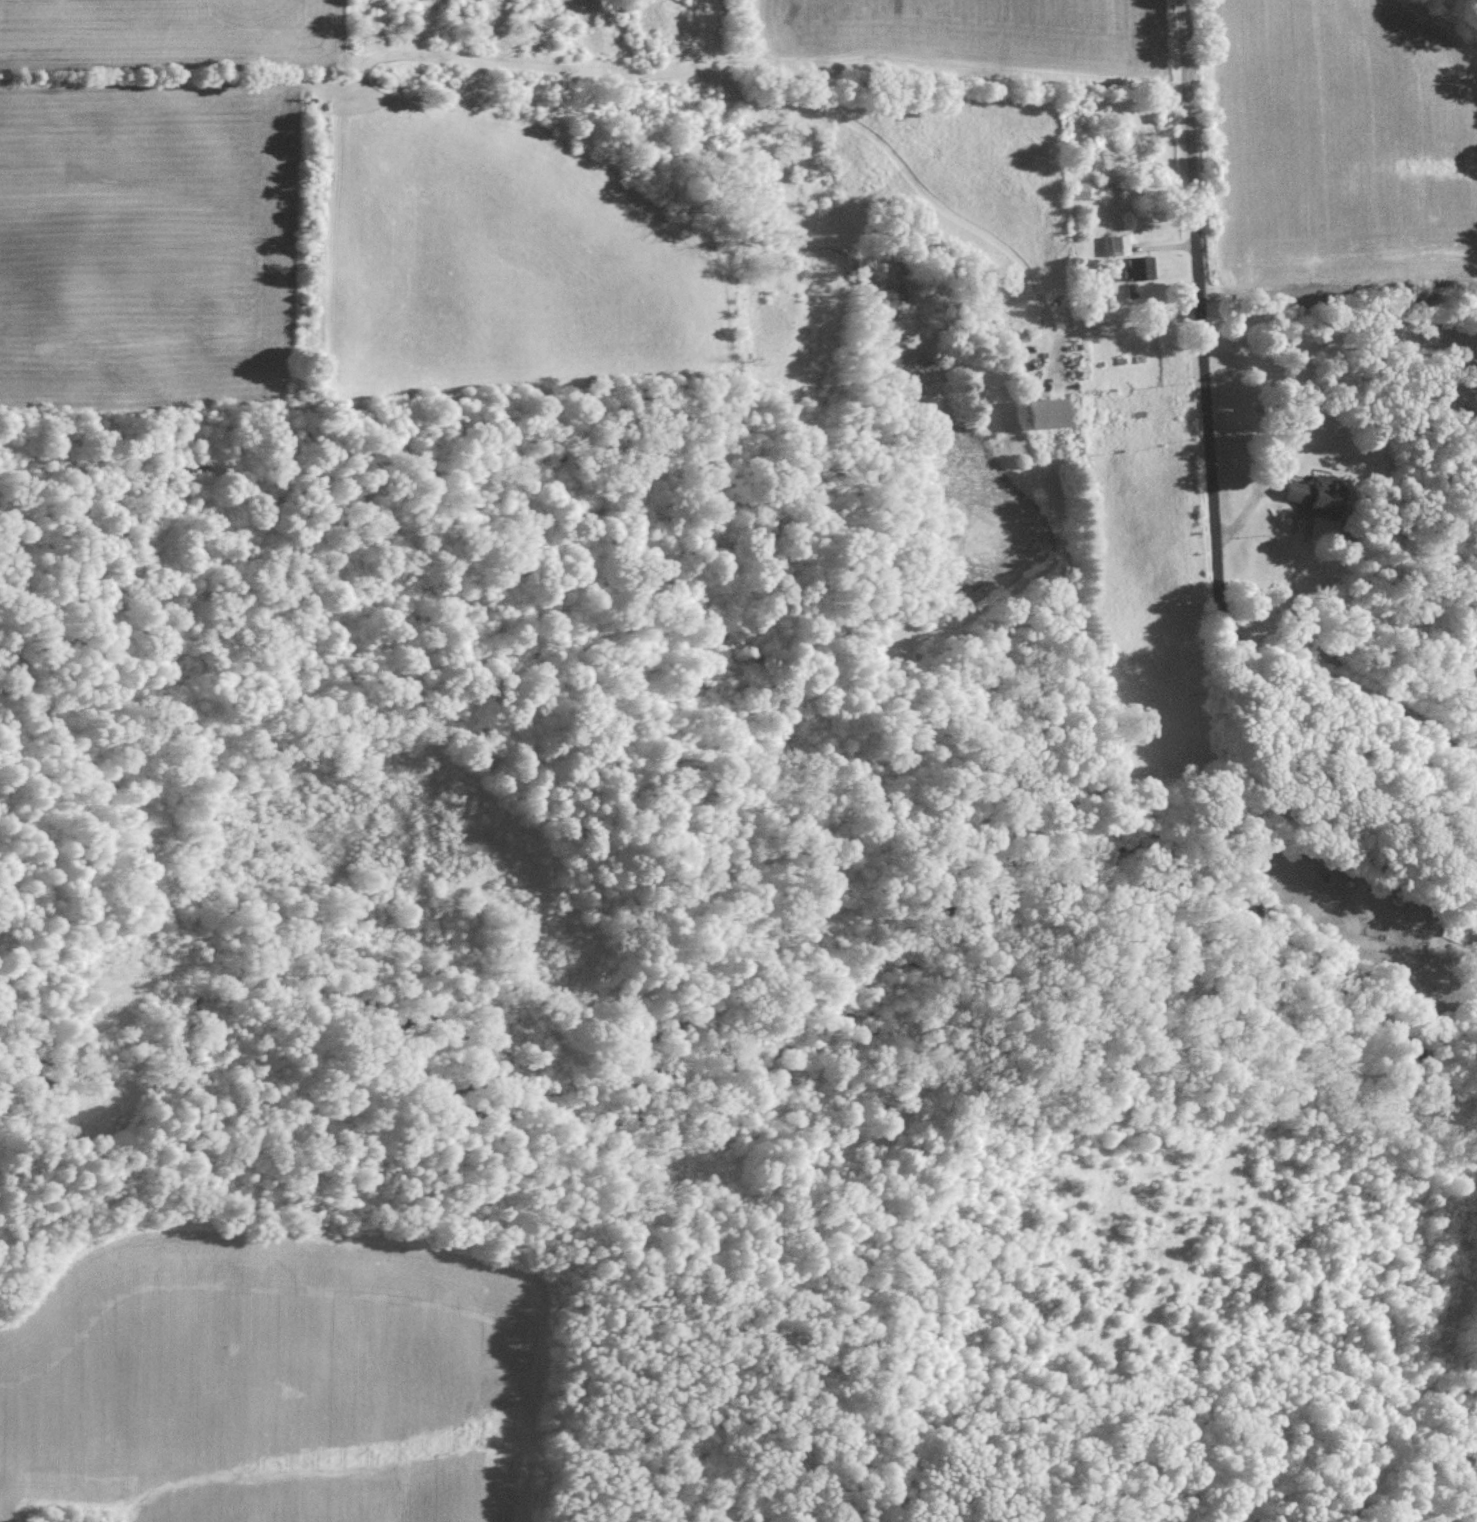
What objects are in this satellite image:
building: (1120, 244)
building: (1141, 267)
building: (1049, 412)
road: (1211, 457)
building: (1315, 494)
building: (1476, 895)

